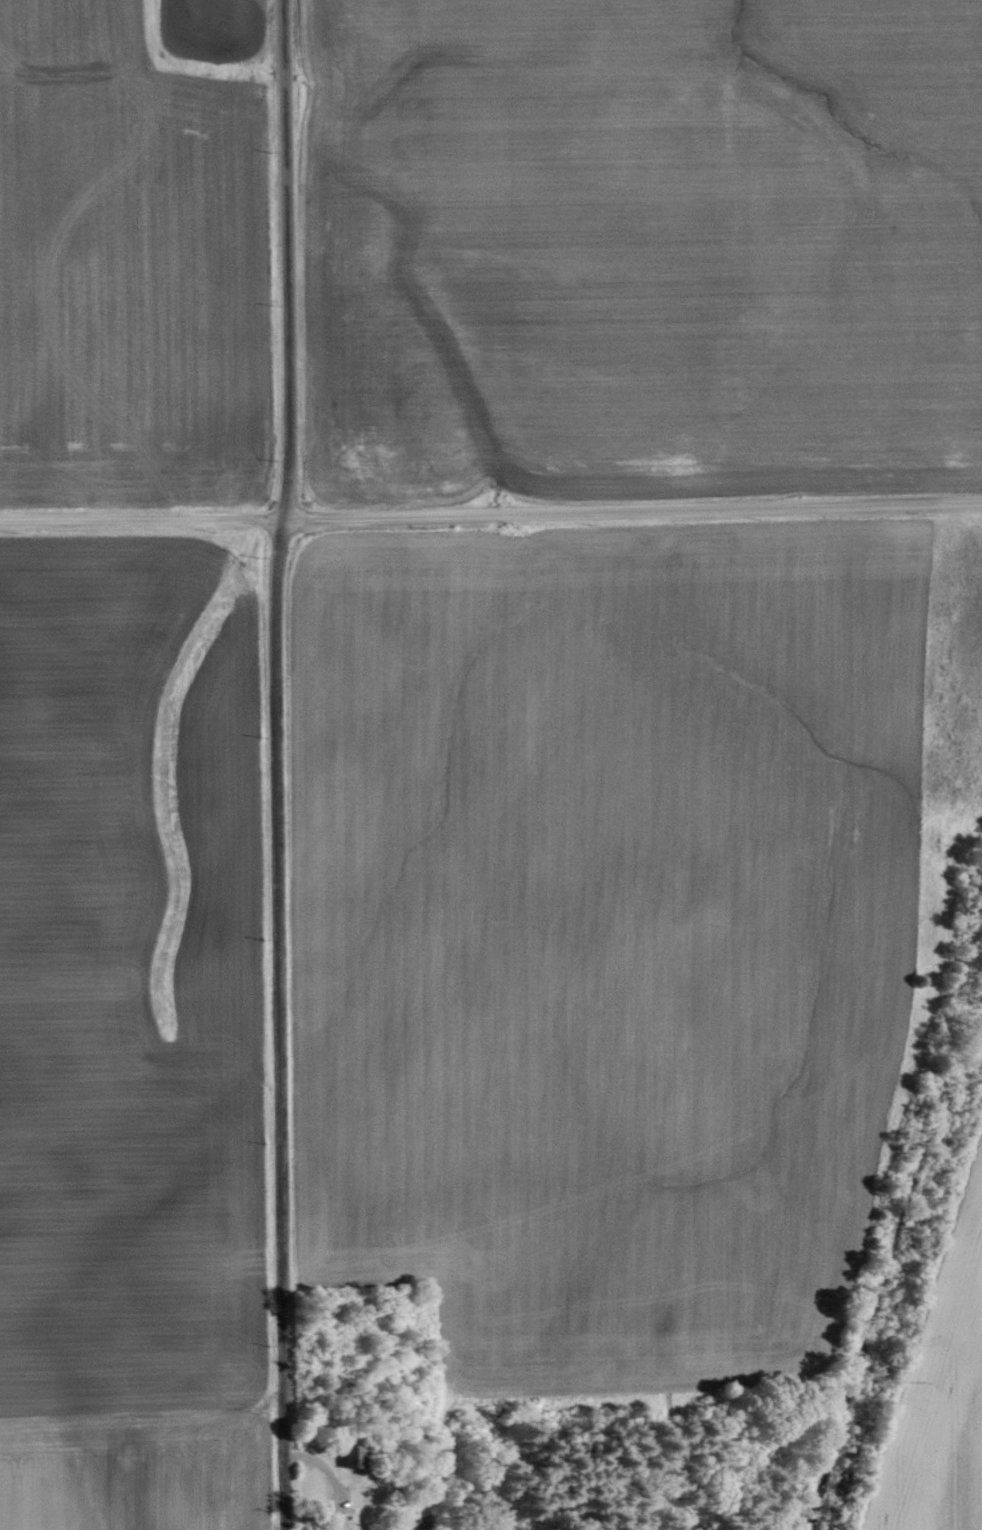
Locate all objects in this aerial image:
road: (285, 258)
road: (491, 511)
road: (278, 1023)
road: (341, 1487)

